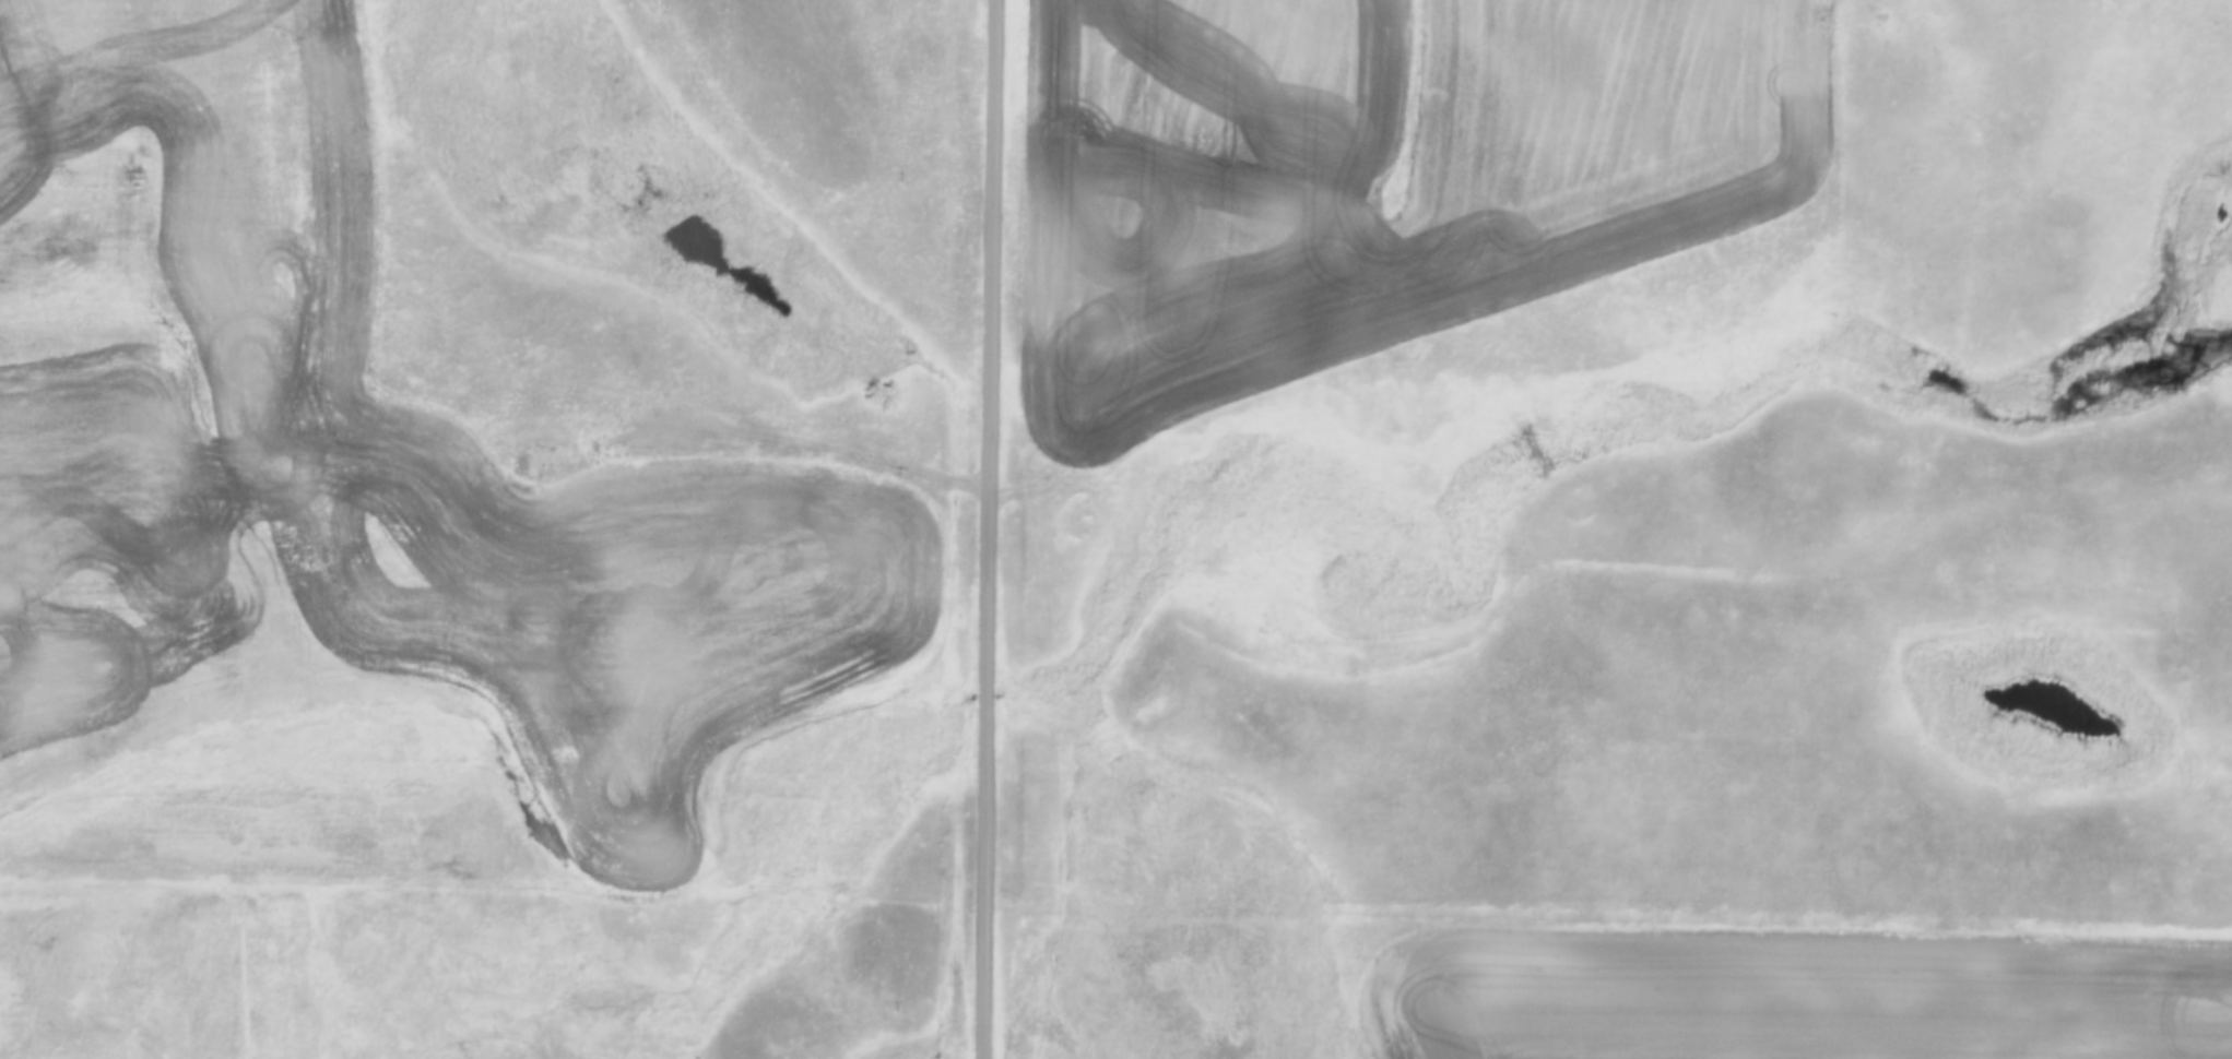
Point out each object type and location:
building: (10, 146)
road: (991, 528)
building: (240, 641)

